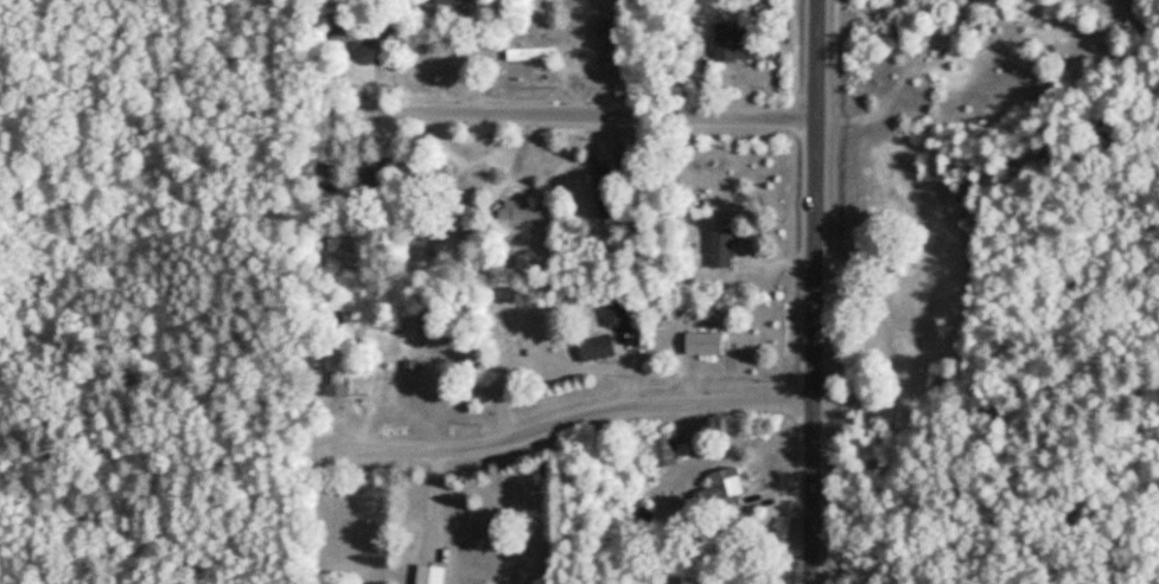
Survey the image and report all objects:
building: (458, 2)
building: (363, 37)
building: (616, 40)
building: (740, 44)
building: (535, 54)
building: (452, 59)
road: (582, 117)
building: (450, 171)
building: (606, 188)
building: (330, 190)
building: (381, 194)
building: (724, 249)
building: (908, 288)
road: (815, 291)
building: (618, 313)
building: (708, 346)
building: (600, 351)
road: (613, 376)
road: (558, 425)
building: (668, 454)
building: (730, 493)
building: (434, 575)

